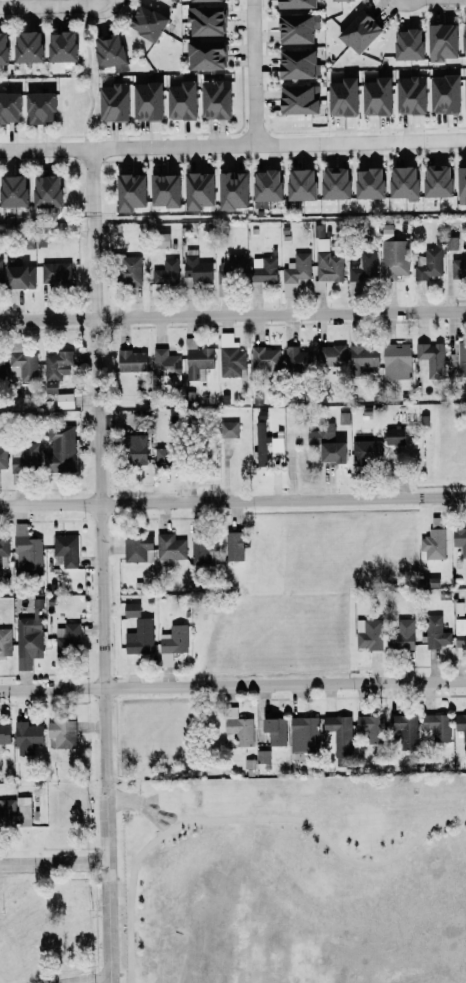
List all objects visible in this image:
building: (197, 0)
building: (290, 3)
road: (53, 6)
building: (202, 20)
building: (141, 22)
building: (292, 27)
building: (356, 30)
building: (461, 35)
building: (437, 41)
building: (402, 44)
building: (0, 46)
building: (22, 46)
building: (55, 46)
building: (102, 49)
building: (202, 54)
building: (291, 63)
road: (254, 72)
road: (89, 76)
building: (440, 93)
building: (463, 93)
building: (406, 94)
building: (372, 96)
building: (338, 97)
building: (212, 99)
building: (295, 99)
building: (176, 100)
building: (109, 101)
building: (142, 101)
building: (7, 106)
building: (34, 107)
road: (232, 144)
building: (431, 180)
building: (398, 182)
building: (329, 183)
building: (363, 183)
building: (295, 184)
building: (261, 185)
building: (459, 185)
building: (10, 190)
building: (40, 190)
building: (159, 190)
building: (193, 190)
building: (228, 190)
building: (124, 191)
building: (385, 232)
road: (92, 233)
building: (160, 240)
building: (450, 242)
building: (393, 258)
building: (427, 263)
building: (231, 265)
building: (325, 265)
building: (361, 265)
building: (456, 267)
building: (194, 268)
building: (127, 269)
building: (261, 269)
building: (54, 273)
building: (165, 273)
building: (294, 273)
building: (16, 276)
road: (233, 316)
building: (329, 354)
building: (360, 356)
building: (262, 358)
building: (295, 358)
building: (429, 358)
building: (457, 358)
building: (128, 360)
building: (394, 361)
building: (163, 362)
building: (20, 363)
building: (0, 364)
building: (56, 364)
building: (47, 386)
building: (63, 400)
building: (227, 428)
building: (393, 436)
building: (323, 443)
building: (265, 444)
building: (131, 449)
building: (364, 449)
building: (58, 450)
building: (162, 456)
building: (2, 458)
road: (232, 500)
building: (458, 540)
building: (434, 543)
building: (3, 544)
building: (230, 546)
building: (168, 547)
building: (136, 548)
building: (63, 550)
building: (200, 550)
building: (25, 551)
building: (463, 576)
building: (128, 609)
building: (433, 632)
building: (459, 632)
building: (366, 634)
building: (400, 634)
building: (65, 636)
building: (27, 637)
building: (137, 637)
building: (170, 643)
road: (100, 650)
road: (233, 685)
building: (460, 724)
building: (236, 726)
building: (434, 726)
building: (368, 727)
building: (402, 729)
building: (271, 730)
building: (3, 732)
building: (60, 733)
building: (302, 733)
building: (334, 734)
building: (25, 736)
building: (261, 756)
road: (283, 788)
road: (462, 802)
road: (252, 804)
building: (22, 811)
building: (6, 812)
road: (246, 819)
road: (52, 865)
park: (293, 879)
road: (100, 981)

